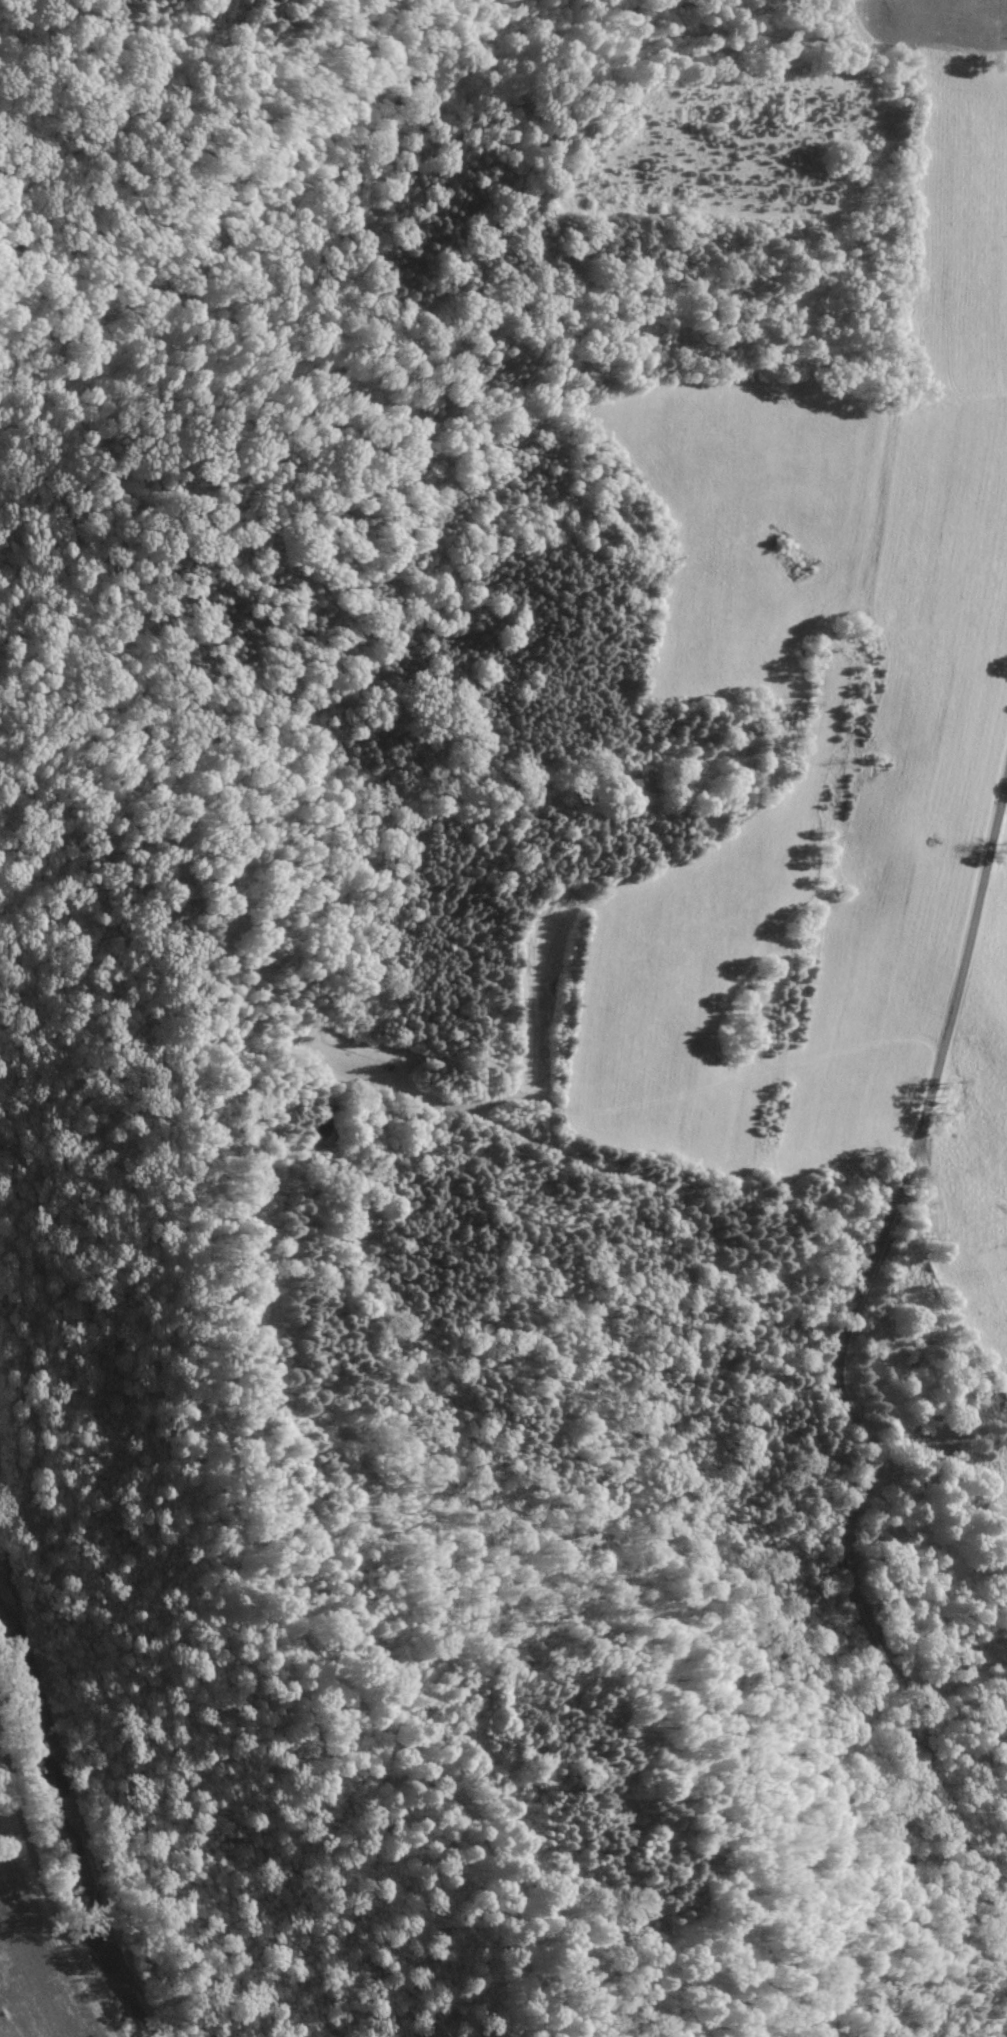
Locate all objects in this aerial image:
crop: (818, 675)
road: (843, 1344)
road: (52, 1897)

